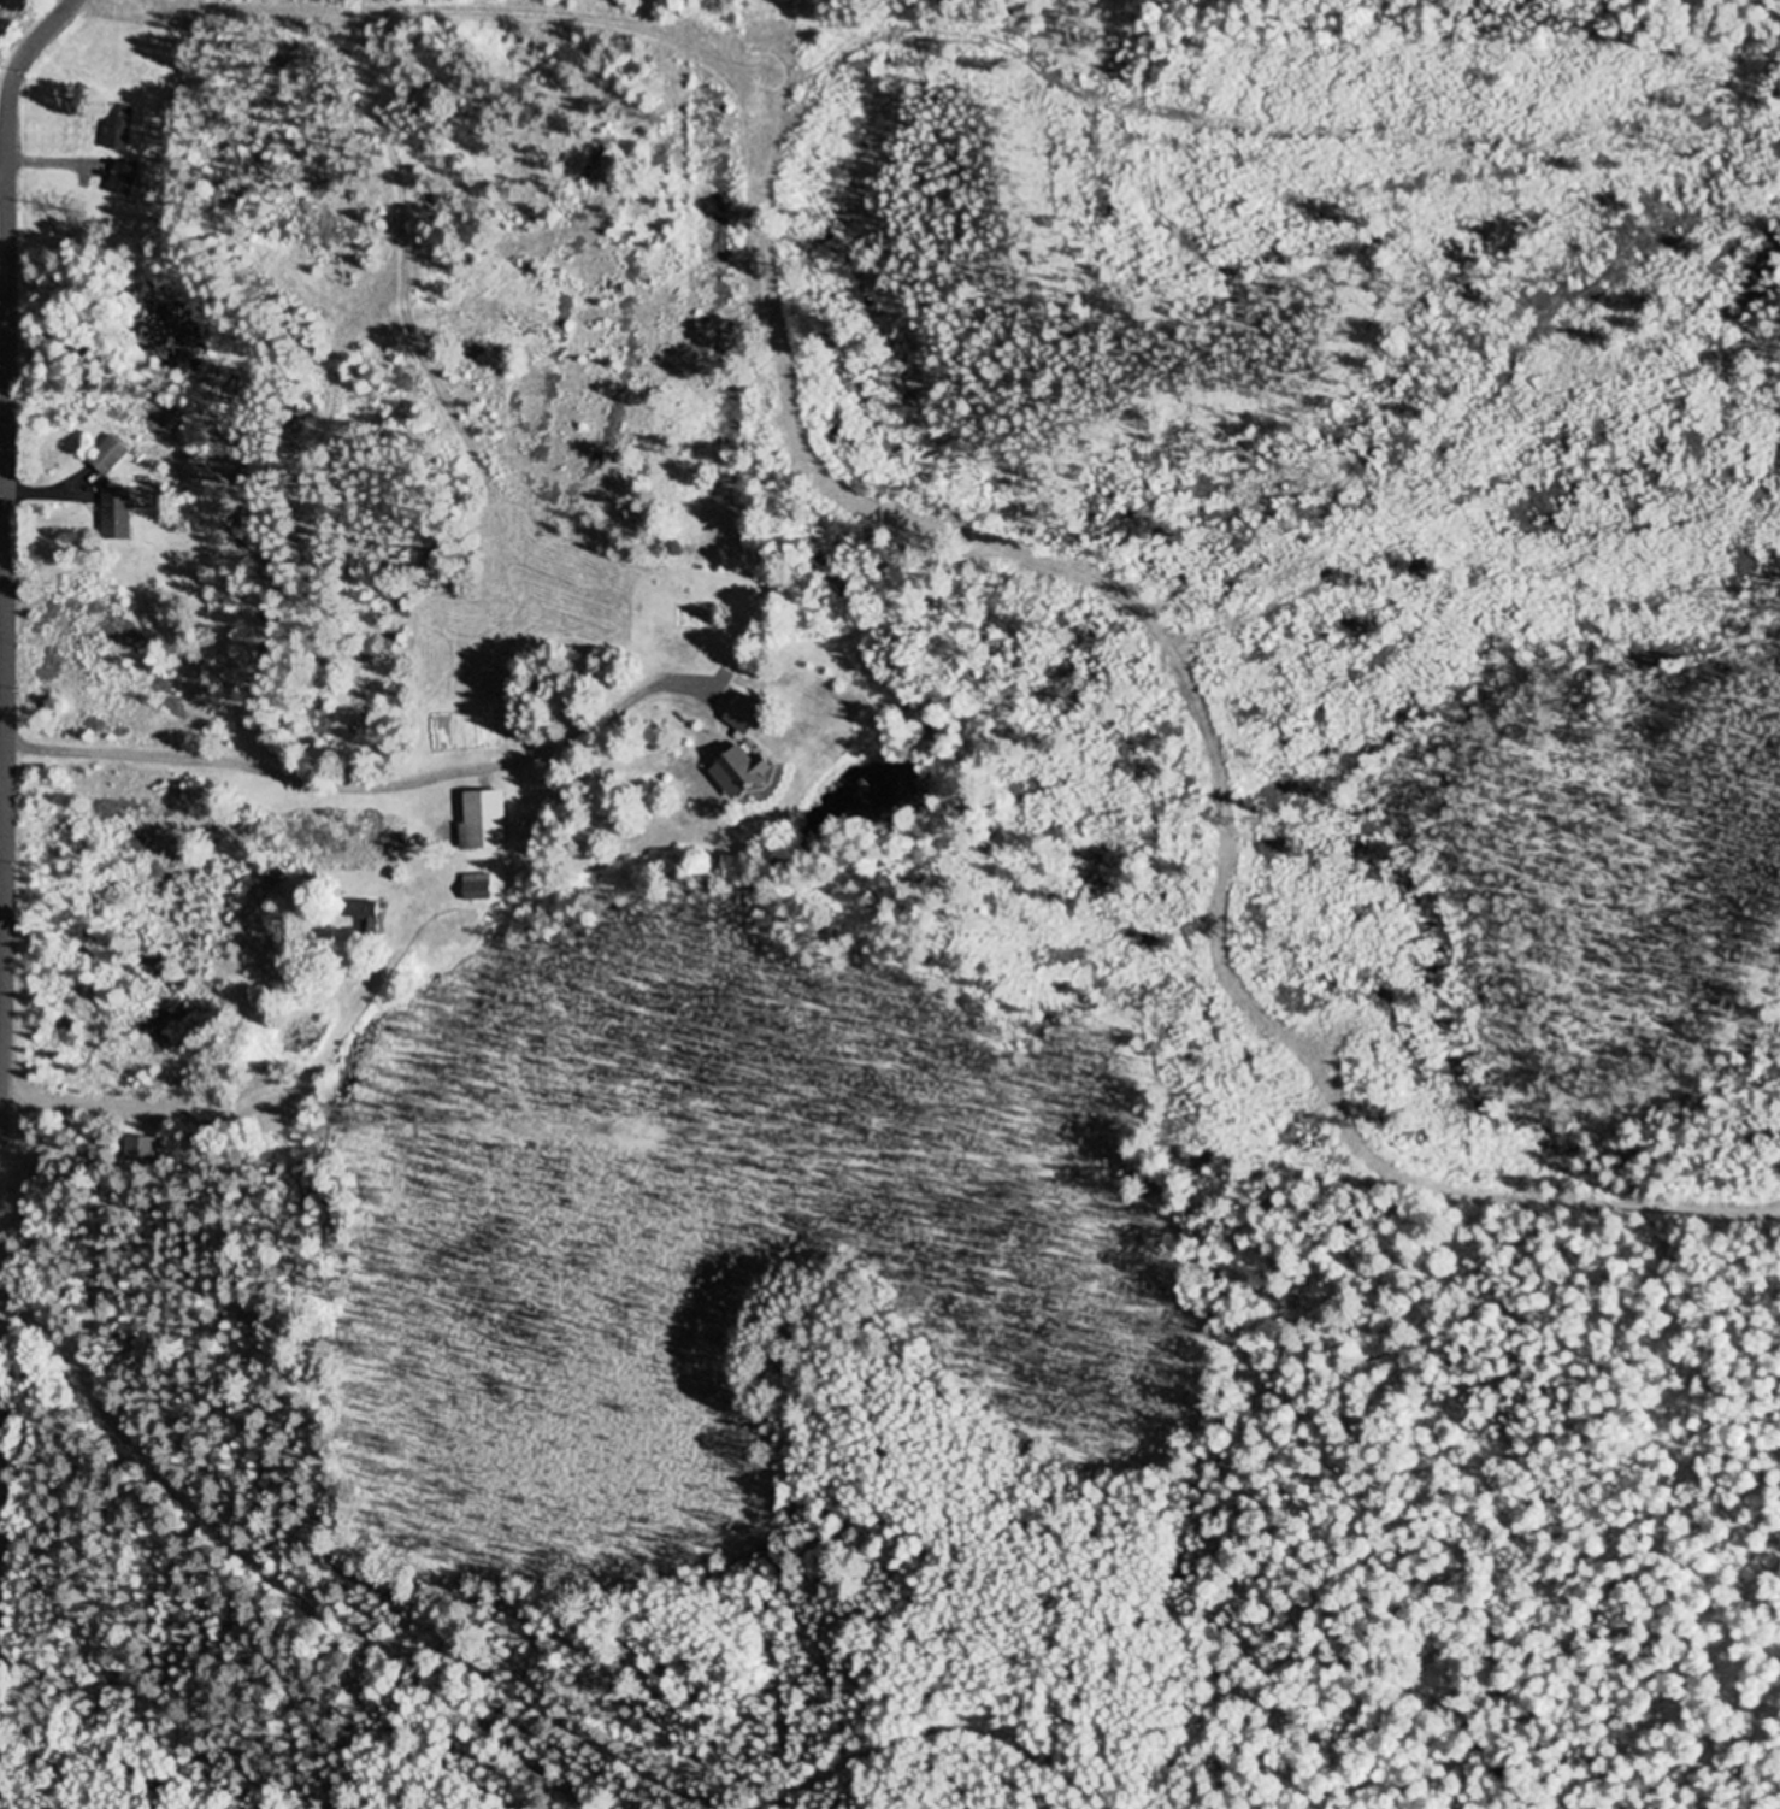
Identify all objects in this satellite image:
building: (117, 129)
building: (122, 179)
building: (106, 458)
road: (8, 506)
building: (116, 515)
building: (742, 715)
building: (739, 772)
building: (482, 821)
building: (477, 888)
building: (365, 917)
road: (5, 1090)
road: (272, 1108)
building: (138, 1151)
road: (0, 1392)
road: (211, 1520)

